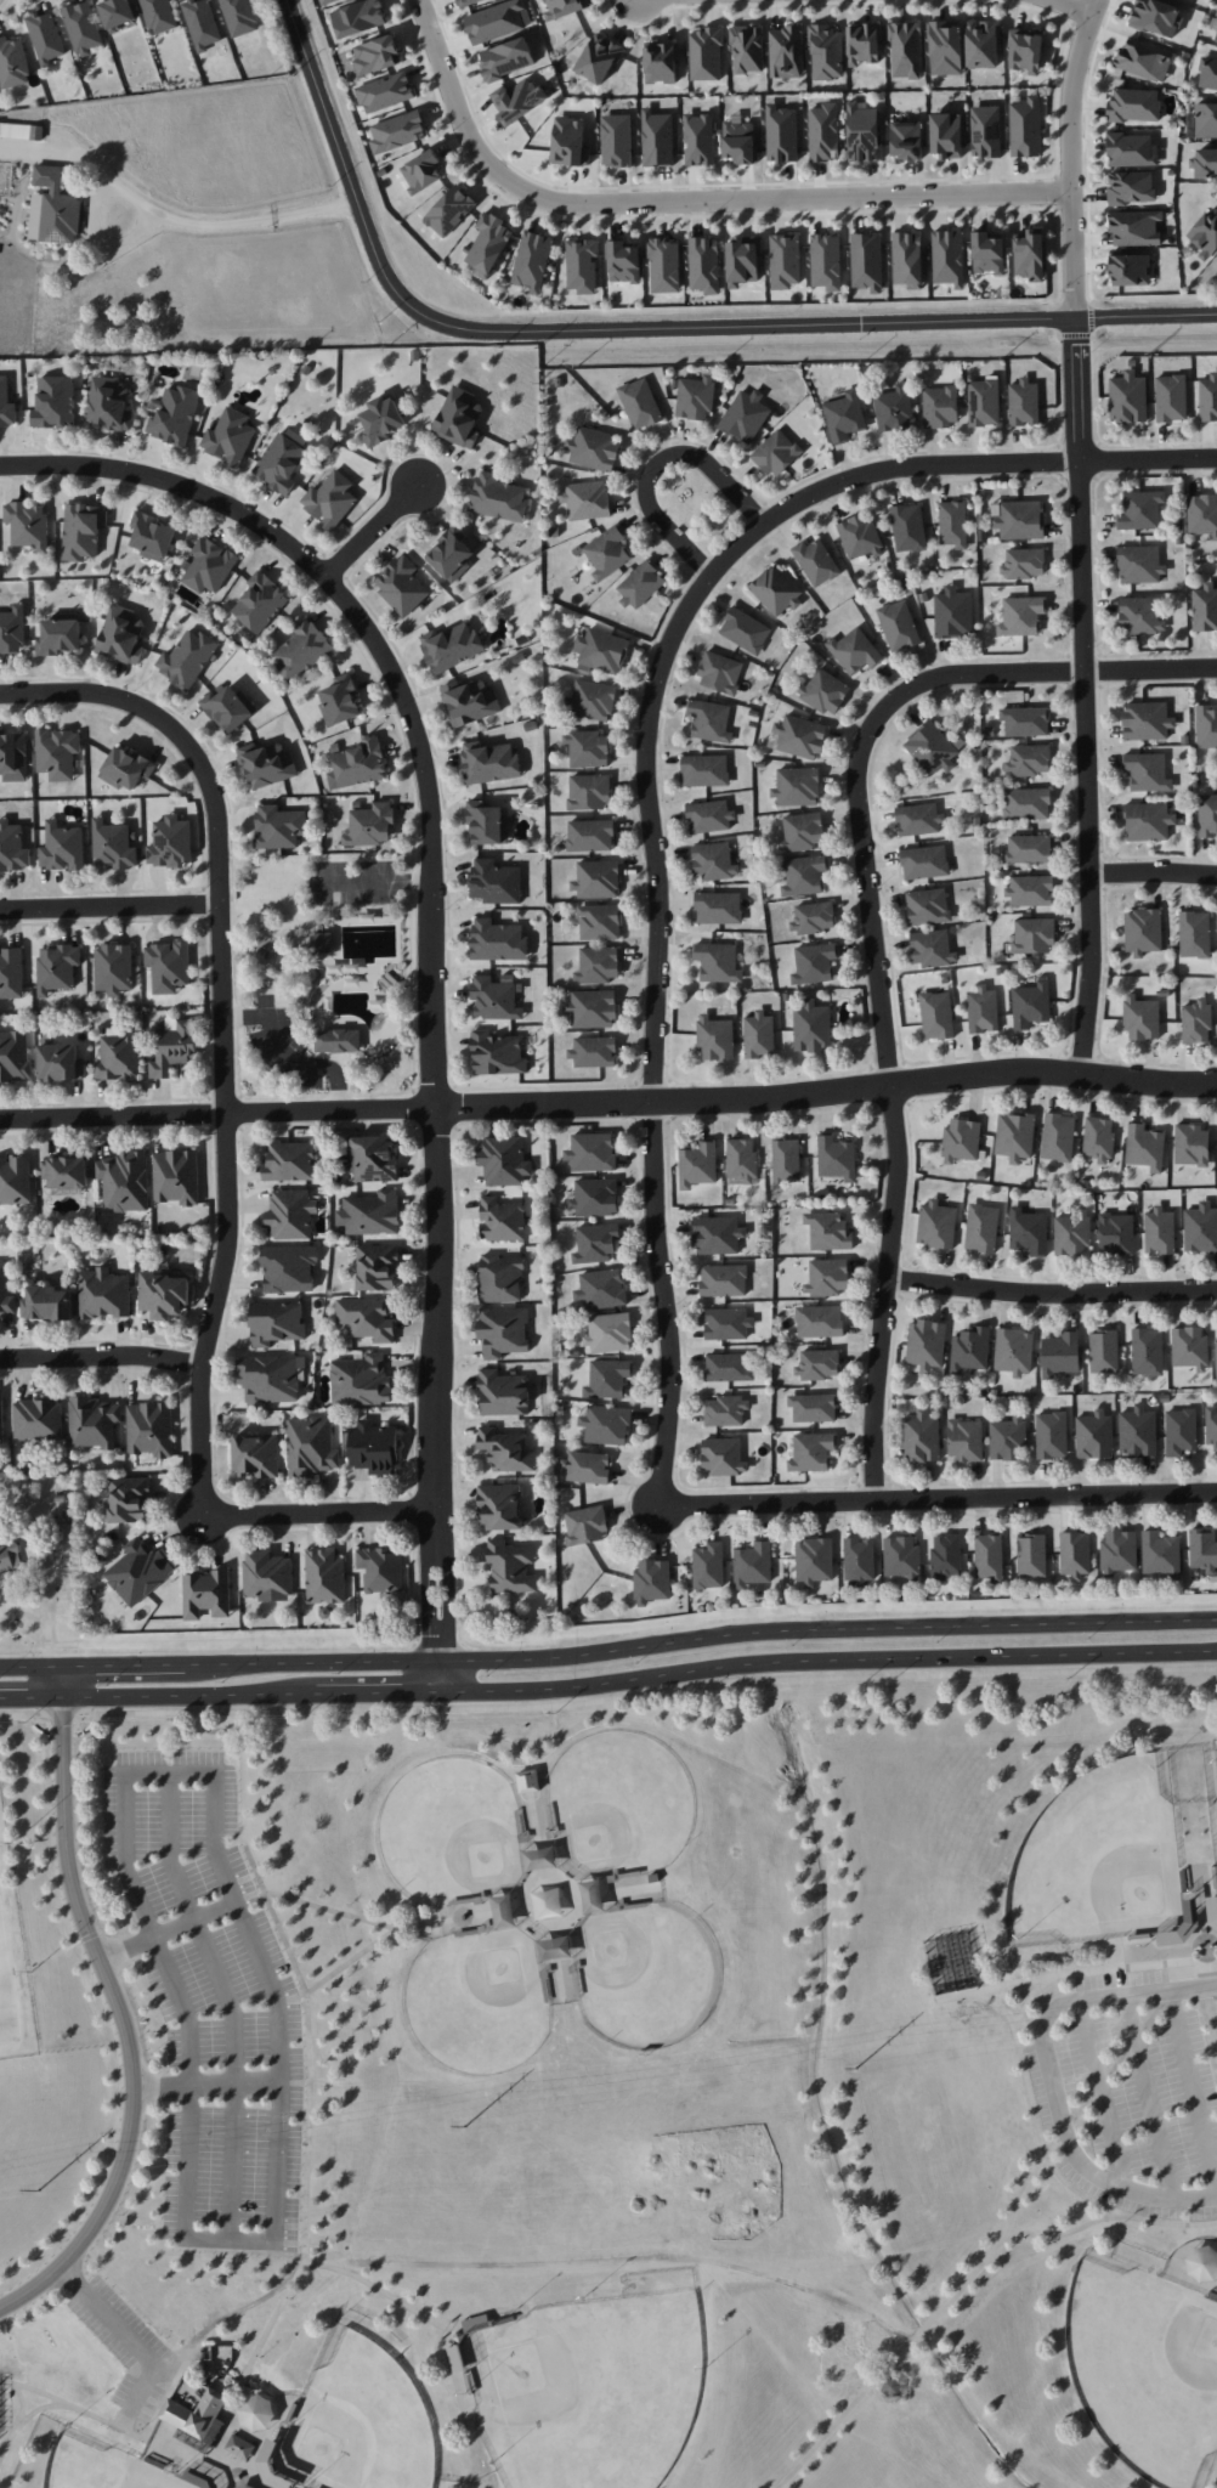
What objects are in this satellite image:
building: (326, 1)
building: (466, 1)
road: (1075, 6)
building: (564, 7)
building: (118, 13)
building: (159, 15)
building: (240, 16)
building: (358, 17)
building: (1156, 17)
building: (494, 21)
building: (202, 23)
building: (83, 27)
building: (45, 36)
building: (1216, 38)
building: (864, 44)
building: (983, 44)
building: (945, 47)
building: (747, 49)
building: (906, 50)
building: (1025, 50)
building: (786, 51)
building: (826, 52)
building: (706, 53)
building: (375, 55)
building: (599, 57)
building: (506, 58)
building: (1144, 58)
building: (661, 62)
building: (12, 63)
building: (1207, 74)
building: (385, 92)
building: (519, 100)
building: (1134, 104)
building: (1205, 119)
building: (1026, 126)
building: (21, 130)
building: (397, 131)
building: (985, 131)
building: (823, 132)
building: (781, 134)
building: (862, 134)
building: (946, 135)
building: (657, 138)
building: (698, 138)
building: (616, 140)
building: (906, 140)
building: (740, 141)
building: (570, 142)
building: (1131, 149)
road: (1086, 155)
road: (1071, 157)
building: (1205, 163)
building: (423, 171)
building: (1131, 187)
road: (1055, 191)
road: (685, 200)
building: (58, 205)
road: (1055, 209)
building: (451, 210)
road: (236, 219)
building: (1134, 227)
building: (1205, 233)
building: (489, 244)
road: (1058, 244)
building: (987, 251)
building: (1029, 254)
building: (947, 258)
building: (907, 259)
building: (742, 260)
building: (785, 260)
building: (532, 261)
building: (623, 261)
building: (826, 261)
building: (867, 261)
building: (704, 264)
building: (582, 265)
building: (664, 265)
building: (1126, 268)
street lamp: (1063, 290)
road: (1059, 292)
road: (1093, 300)
road: (1075, 302)
road: (1093, 316)
road: (1058, 318)
road: (645, 328)
road: (1076, 334)
building: (695, 397)
building: (1127, 397)
building: (1171, 397)
building: (1207, 397)
building: (53, 402)
building: (984, 402)
building: (1023, 402)
building: (6, 403)
building: (640, 403)
building: (109, 405)
building: (940, 406)
building: (894, 408)
building: (174, 414)
building: (745, 415)
building: (844, 415)
building: (459, 417)
building: (381, 420)
building: (230, 436)
building: (593, 448)
building: (776, 452)
road: (656, 459)
building: (281, 463)
building: (498, 497)
building: (330, 499)
building: (585, 499)
building: (1140, 509)
building: (1202, 514)
building: (1019, 519)
building: (28, 524)
building: (952, 524)
building: (908, 527)
building: (83, 530)
road: (372, 533)
building: (151, 536)
building: (860, 536)
building: (607, 552)
building: (451, 553)
building: (816, 561)
building: (1023, 562)
building: (1139, 564)
building: (209, 565)
building: (640, 584)
building: (402, 586)
building: (776, 590)
building: (260, 601)
building: (1205, 607)
building: (953, 613)
building: (1021, 615)
building: (1140, 615)
building: (899, 626)
building: (12, 631)
building: (745, 631)
building: (121, 634)
building: (60, 635)
building: (451, 646)
building: (301, 649)
building: (601, 650)
building: (855, 651)
building: (187, 658)
building: (720, 672)
building: (825, 690)
road: (1086, 695)
building: (590, 700)
building: (340, 701)
building: (470, 701)
building: (228, 707)
building: (709, 720)
building: (1025, 720)
building: (1147, 720)
road: (873, 725)
building: (1206, 726)
building: (800, 736)
building: (932, 747)
building: (588, 748)
building: (57, 752)
building: (13, 756)
building: (1029, 759)
building: (489, 762)
building: (267, 763)
building: (358, 764)
building: (126, 768)
building: (706, 770)
building: (1147, 771)
building: (797, 787)
building: (588, 791)
building: (1026, 803)
building: (1207, 815)
building: (709, 816)
road: (231, 819)
building: (918, 819)
building: (1148, 821)
building: (487, 824)
building: (370, 825)
building: (278, 826)
building: (803, 831)
building: (590, 835)
building: (171, 842)
building: (113, 844)
building: (12, 847)
building: (62, 847)
building: (1028, 849)
road: (429, 855)
building: (713, 860)
building: (924, 861)
road: (1155, 871)
building: (804, 875)
building: (598, 878)
road: (368, 882)
building: (496, 882)
parking lot: (353, 883)
building: (1030, 890)
building: (928, 906)
building: (718, 907)
road: (109, 910)
building: (813, 917)
building: (600, 921)
building: (1143, 931)
road: (257, 932)
building: (1034, 934)
building: (1194, 934)
building: (498, 940)
building: (322, 942)
building: (930, 948)
building: (718, 962)
building: (815, 962)
building: (598, 965)
building: (168, 966)
building: (57, 967)
building: (113, 968)
road: (234, 968)
building: (11, 972)
building: (494, 999)
building: (1031, 1005)
building: (591, 1008)
building: (983, 1010)
building: (936, 1014)
building: (1142, 1018)
building: (1195, 1020)
building: (811, 1027)
building: (759, 1035)
building: (715, 1037)
road: (656, 1039)
building: (335, 1040)
parking lot: (282, 1041)
building: (174, 1046)
building: (594, 1051)
building: (497, 1053)
road: (287, 1054)
building: (15, 1056)
building: (118, 1056)
building: (60, 1062)
road: (372, 1067)
road: (413, 1070)
road: (361, 1079)
road: (608, 1103)
building: (1015, 1135)
building: (1058, 1137)
building: (1099, 1138)
building: (961, 1140)
building: (1191, 1144)
road: (228, 1146)
building: (1145, 1146)
building: (591, 1152)
building: (837, 1157)
building: (374, 1159)
building: (504, 1160)
building: (289, 1161)
building: (742, 1161)
building: (786, 1161)
building: (698, 1164)
building: (66, 1171)
building: (176, 1176)
building: (15, 1180)
building: (124, 1181)
building: (594, 1197)
building: (290, 1214)
building: (370, 1214)
building: (502, 1220)
building: (936, 1225)
building: (981, 1227)
building: (1200, 1228)
building: (828, 1231)
building: (1029, 1231)
building: (1159, 1231)
building: (1072, 1233)
building: (1116, 1233)
building: (718, 1234)
building: (595, 1242)
building: (377, 1266)
building: (289, 1267)
building: (827, 1277)
building: (500, 1278)
building: (724, 1279)
building: (601, 1289)
road: (887, 1291)
road: (1052, 1291)
building: (6, 1293)
building: (103, 1294)
building: (164, 1294)
building: (47, 1302)
building: (367, 1318)
building: (820, 1321)
building: (276, 1322)
building: (728, 1323)
building: (503, 1330)
building: (610, 1331)
road: (457, 1339)
building: (926, 1344)
building: (1189, 1347)
building: (970, 1350)
building: (1014, 1351)
building: (1104, 1351)
building: (1147, 1351)
building: (1060, 1353)
building: (1216, 1353)
road: (102, 1356)
building: (817, 1363)
building: (730, 1367)
building: (270, 1378)
building: (608, 1378)
building: (361, 1380)
building: (503, 1393)
building: (813, 1407)
building: (725, 1410)
building: (38, 1418)
building: (1, 1419)
building: (94, 1421)
building: (606, 1424)
building: (1211, 1426)
building: (151, 1429)
building: (1138, 1431)
building: (1181, 1431)
building: (1051, 1435)
building: (1094, 1435)
building: (921, 1437)
building: (1007, 1437)
building: (964, 1440)
building: (310, 1447)
building: (373, 1447)
building: (505, 1449)
building: (813, 1452)
building: (256, 1454)
building: (723, 1455)
building: (587, 1466)
building: (128, 1499)
building: (500, 1505)
road: (412, 1509)
building: (585, 1525)
road: (409, 1526)
street lamp: (415, 1526)
road: (437, 1529)
road: (205, 1545)
building: (1204, 1549)
building: (1119, 1551)
building: (1075, 1554)
building: (1161, 1554)
building: (9, 1555)
building: (1031, 1555)
building: (946, 1556)
building: (989, 1556)
building: (902, 1557)
building: (814, 1560)
building: (859, 1560)
building: (753, 1564)
building: (709, 1565)
building: (511, 1566)
building: (380, 1568)
building: (138, 1571)
building: (267, 1573)
building: (324, 1577)
building: (652, 1581)
building: (206, 1594)
road: (749, 1616)
road: (448, 1618)
road: (431, 1619)
road: (700, 1636)
road: (832, 1661)
road: (121, 1666)
road: (29, 1667)
street lamp: (339, 1672)
street lamp: (222, 1680)
road: (60, 1683)
street lamp: (108, 1685)
road: (377, 1693)
road: (183, 1696)
road: (30, 1698)
road: (168, 1763)
building: (528, 1781)
park: (1211, 1788)
park: (618, 1802)
road: (213, 1808)
park: (449, 1830)
road: (538, 1845)
building: (540, 1859)
park: (1097, 1859)
road: (616, 1892)
road: (565, 1893)
building: (593, 1896)
road: (136, 1898)
building: (547, 1901)
road: (313, 1906)
building: (503, 1911)
building: (1212, 1911)
building: (1189, 1913)
road: (1201, 1919)
road: (401, 1928)
road: (1210, 1929)
road: (168, 1930)
building: (554, 1947)
road: (1213, 1974)
park: (650, 1975)
road: (998, 1989)
park: (7, 1990)
parking lot: (216, 1992)
road: (225, 1996)
park: (480, 2001)
road: (998, 2006)
road: (125, 2025)
road: (277, 2039)
road: (306, 2042)
road: (1053, 2075)
road: (1026, 2076)
road: (206, 2088)
road: (1193, 2088)
parking lot: (1132, 2090)
park: (616, 2093)
road: (1102, 2094)
road: (1148, 2097)
road: (192, 2131)
road: (1063, 2232)
road: (231, 2239)
road: (991, 2251)
road: (73, 2275)
road: (273, 2319)
road: (822, 2328)
road: (446, 2332)
parking lot: (130, 2347)
road: (137, 2347)
building: (455, 2357)
road: (866, 2359)
park: (1145, 2365)
building: (893, 2387)
park: (595, 2388)
road: (22, 2403)
building: (202, 2416)
park: (361, 2418)
road: (22, 2424)
road: (136, 2436)
building: (239, 2447)
building: (268, 2454)
park: (103, 2465)
road: (234, 2483)
building: (242, 2486)

